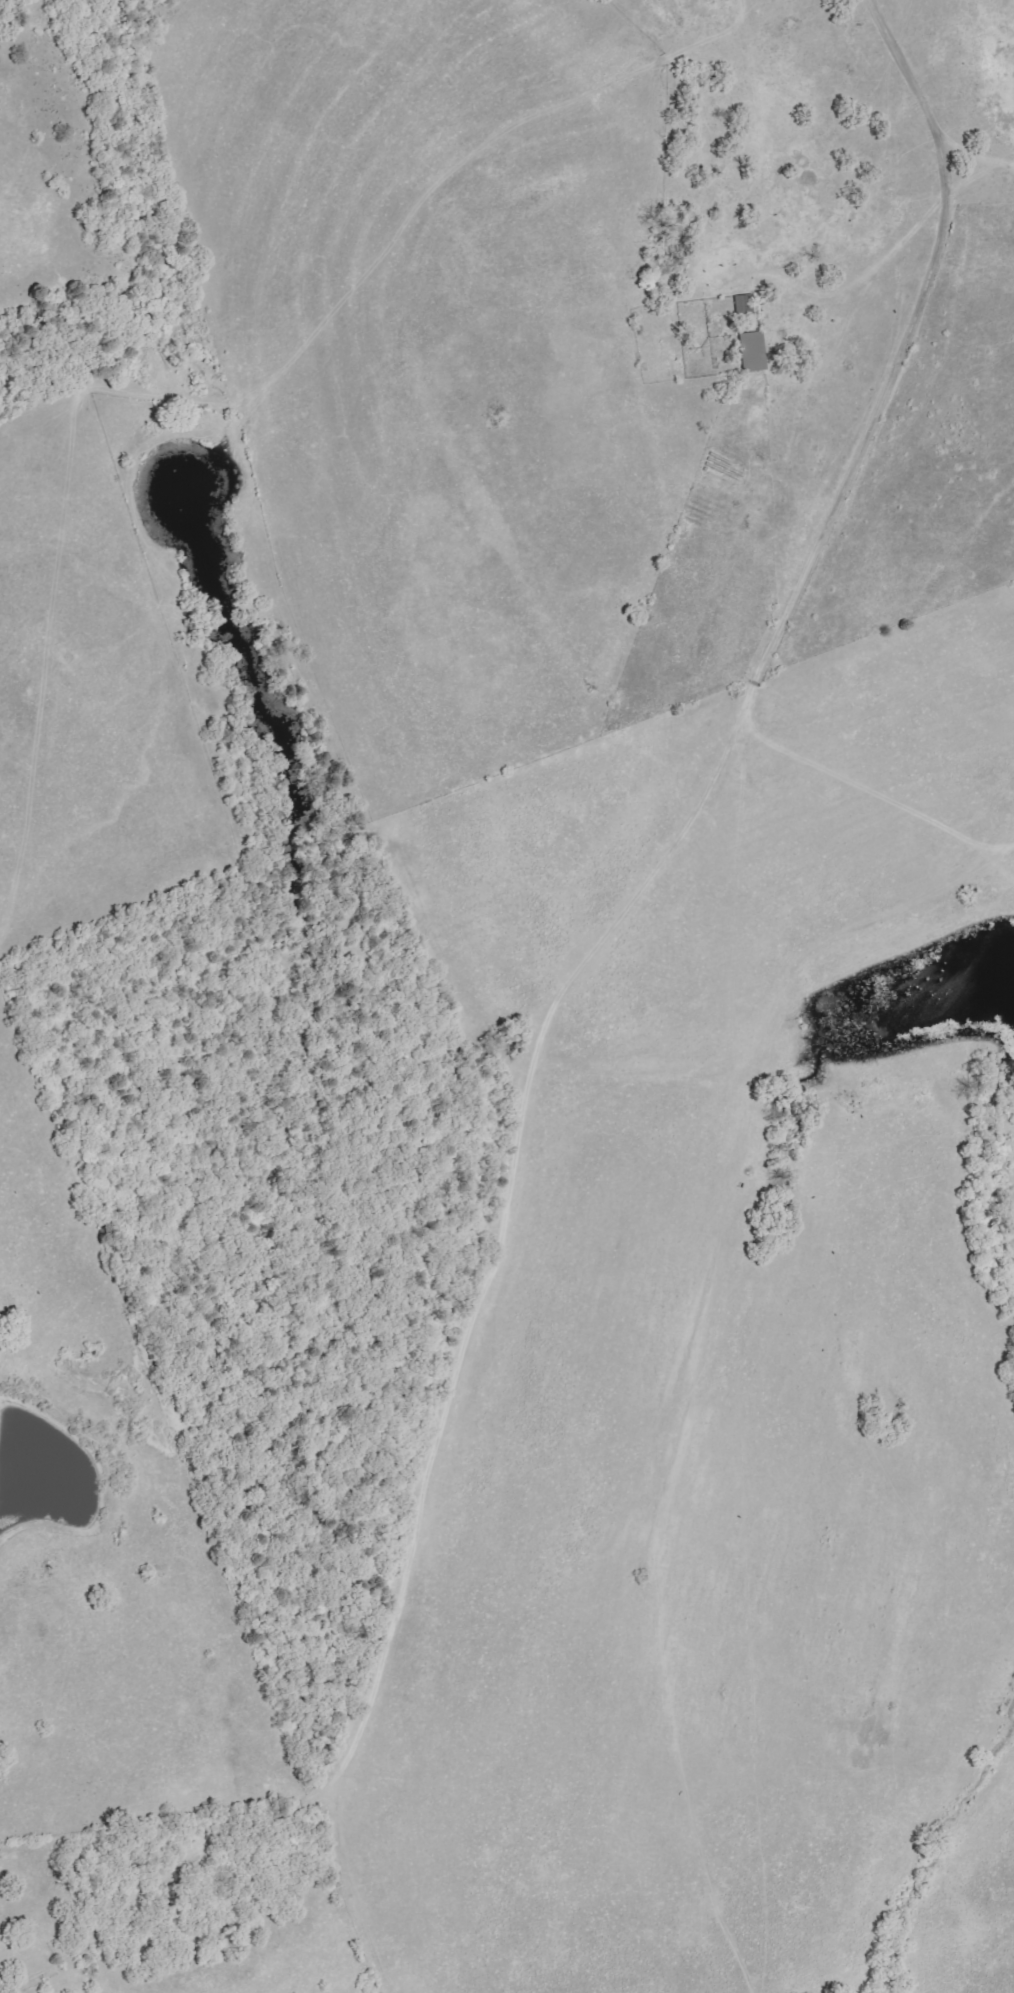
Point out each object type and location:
road: (919, 104)
building: (743, 305)
building: (750, 351)

